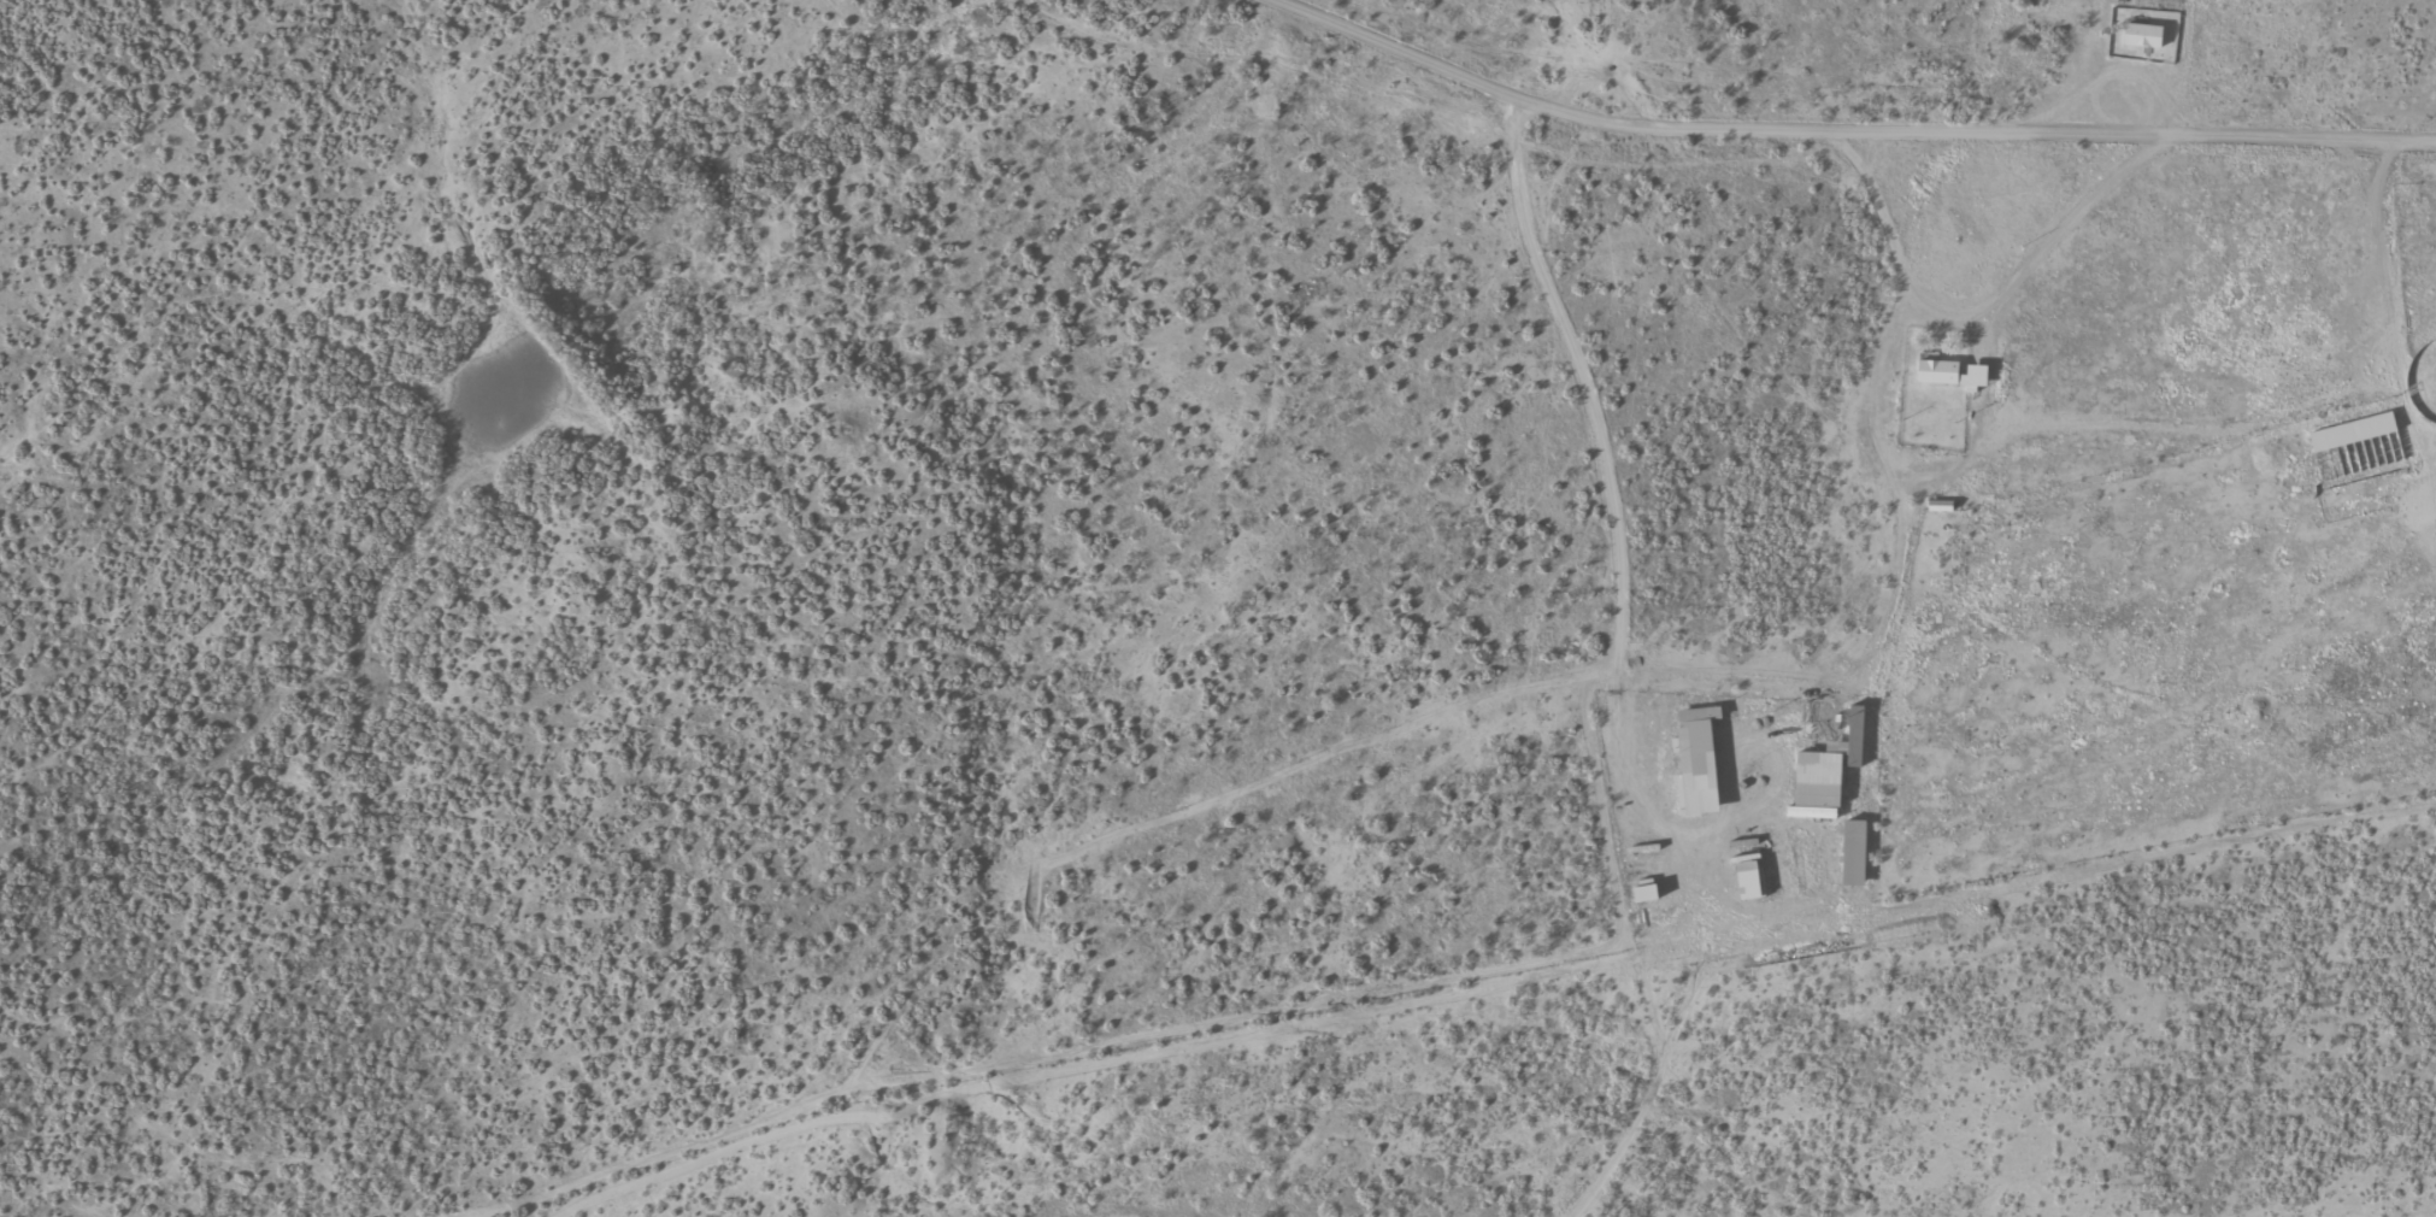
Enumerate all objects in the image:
building: (2142, 35)
road: (1852, 124)
building: (1950, 375)
building: (2352, 433)
road: (1614, 652)
building: (1695, 760)
building: (1853, 853)
road: (1496, 1176)
road: (460, 1205)

